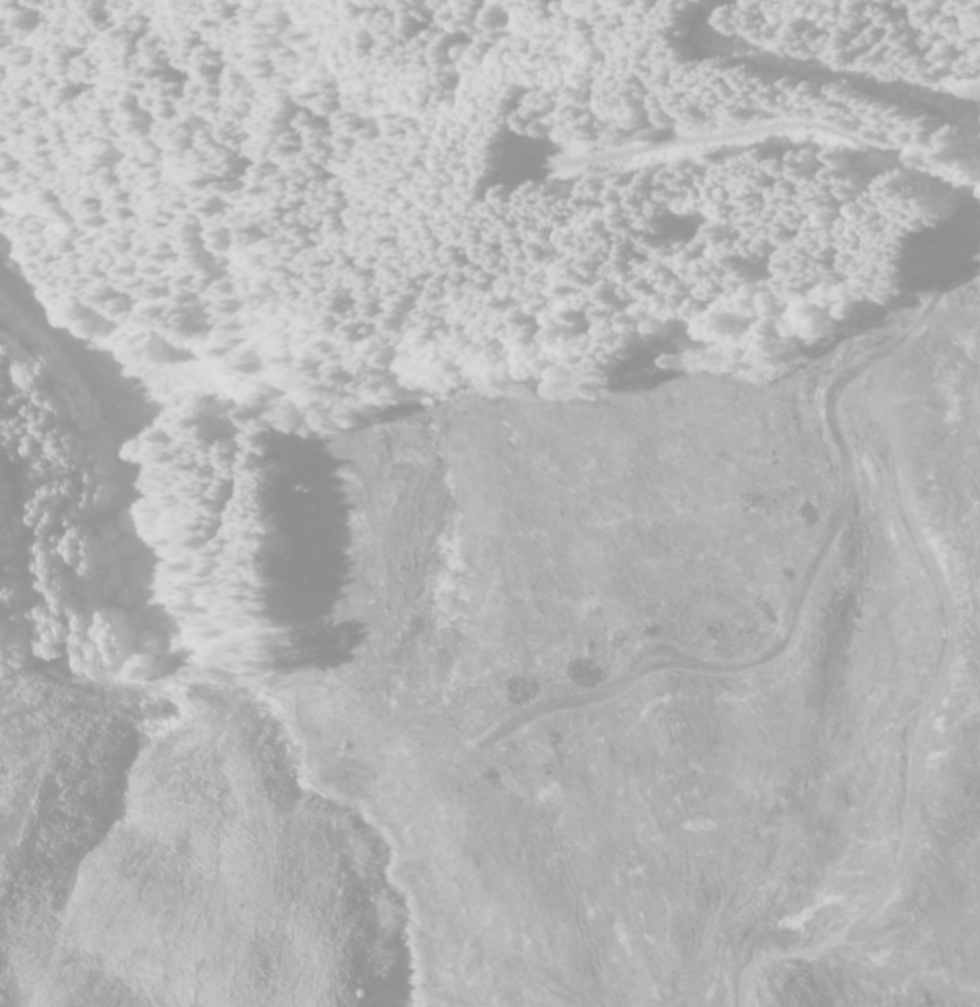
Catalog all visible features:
road: (789, 138)
road: (957, 778)

